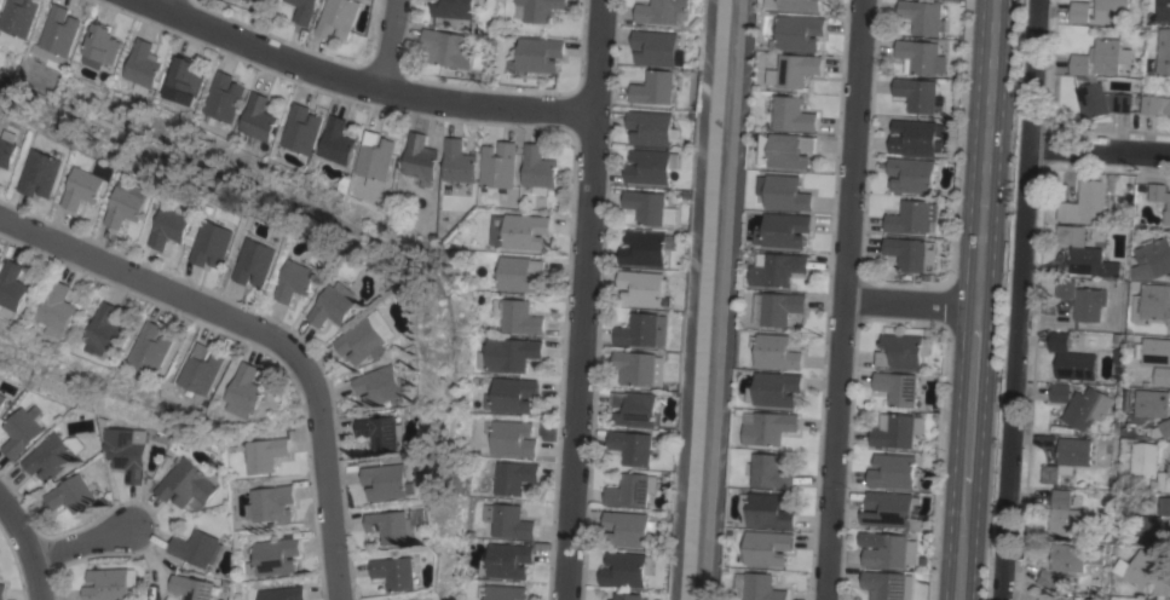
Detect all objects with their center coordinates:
building: (252, 0)
building: (260, 0)
road: (171, 4)
building: (795, 4)
building: (454, 8)
building: (1107, 8)
building: (304, 10)
building: (538, 10)
building: (1163, 10)
building: (663, 11)
building: (1079, 11)
building: (923, 17)
building: (338, 18)
building: (16, 19)
building: (800, 31)
building: (56, 35)
road: (393, 44)
building: (99, 46)
building: (656, 47)
building: (448, 48)
building: (1163, 51)
building: (538, 54)
building: (921, 56)
building: (140, 67)
building: (794, 70)
road: (364, 79)
building: (1087, 79)
building: (181, 81)
building: (655, 88)
building: (916, 94)
building: (221, 97)
building: (1155, 104)
building: (793, 114)
building: (1169, 116)
building: (257, 120)
building: (651, 127)
building: (300, 129)
building: (913, 137)
building: (335, 142)
building: (10, 148)
road: (1100, 150)
building: (786, 151)
building: (374, 158)
building: (420, 160)
building: (459, 162)
building: (498, 165)
building: (652, 166)
building: (538, 167)
building: (44, 173)
building: (911, 174)
building: (86, 187)
building: (783, 192)
building: (1160, 198)
building: (129, 203)
building: (1084, 203)
building: (651, 207)
building: (912, 217)
building: (172, 227)
building: (784, 230)
building: (518, 231)
building: (215, 243)
building: (645, 248)
building: (911, 253)
building: (1085, 253)
building: (1152, 259)
building: (259, 260)
building: (778, 269)
building: (519, 273)
building: (298, 281)
building: (16, 285)
building: (642, 288)
road: (581, 299)
road: (840, 299)
building: (1082, 299)
road: (978, 300)
road: (1019, 300)
road: (909, 302)
building: (1152, 304)
building: (333, 306)
building: (782, 307)
building: (62, 310)
building: (519, 317)
building: (109, 330)
building: (644, 330)
road: (264, 334)
building: (365, 341)
building: (155, 347)
building: (776, 351)
building: (903, 351)
building: (1154, 351)
building: (507, 354)
building: (1071, 358)
building: (640, 367)
building: (204, 369)
building: (1163, 376)
building: (382, 385)
building: (898, 387)
building: (776, 390)
building: (247, 391)
building: (1060, 393)
building: (512, 394)
building: (1, 399)
building: (1153, 403)
building: (1085, 408)
building: (636, 409)
building: (768, 427)
building: (1165, 427)
building: (897, 429)
building: (21, 431)
building: (384, 432)
building: (512, 438)
building: (634, 448)
building: (125, 451)
building: (265, 454)
building: (52, 455)
building: (1067, 457)
building: (1145, 458)
building: (892, 471)
building: (772, 472)
building: (513, 477)
building: (390, 480)
building: (1164, 480)
building: (185, 483)
building: (633, 490)
building: (70, 494)
building: (271, 503)
building: (1164, 506)
building: (766, 510)
building: (889, 510)
building: (1064, 514)
building: (507, 520)
building: (391, 526)
building: (628, 527)
building: (1145, 529)
road: (80, 542)
building: (767, 547)
building: (197, 548)
road: (24, 549)
building: (887, 549)
building: (273, 556)
building: (506, 560)
building: (1061, 565)
building: (1139, 569)
building: (628, 570)
building: (396, 572)
building: (106, 584)
building: (883, 584)
building: (192, 587)
building: (762, 587)
building: (1162, 587)
building: (2, 590)
building: (502, 592)
building: (282, 593)
building: (628, 596)
building: (1047, 596)
building: (1079, 596)

